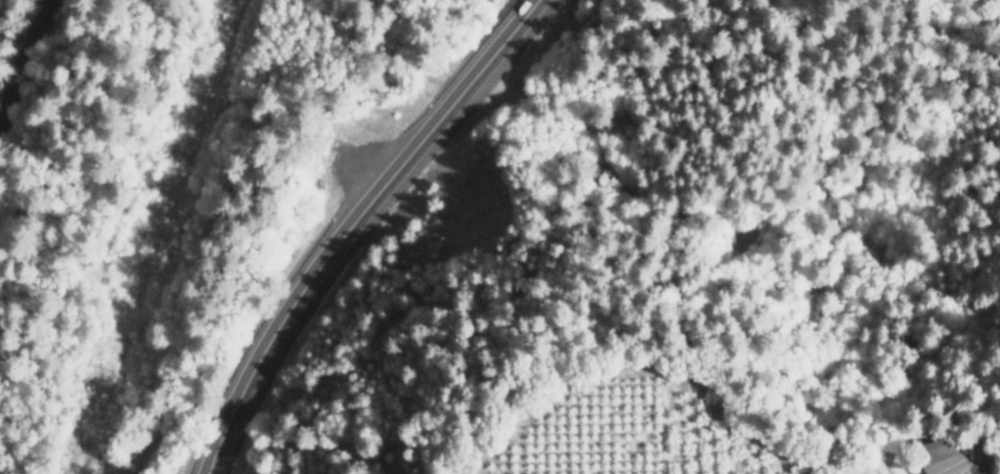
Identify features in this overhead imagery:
railway: (26, 53)
road: (349, 223)
building: (951, 453)

